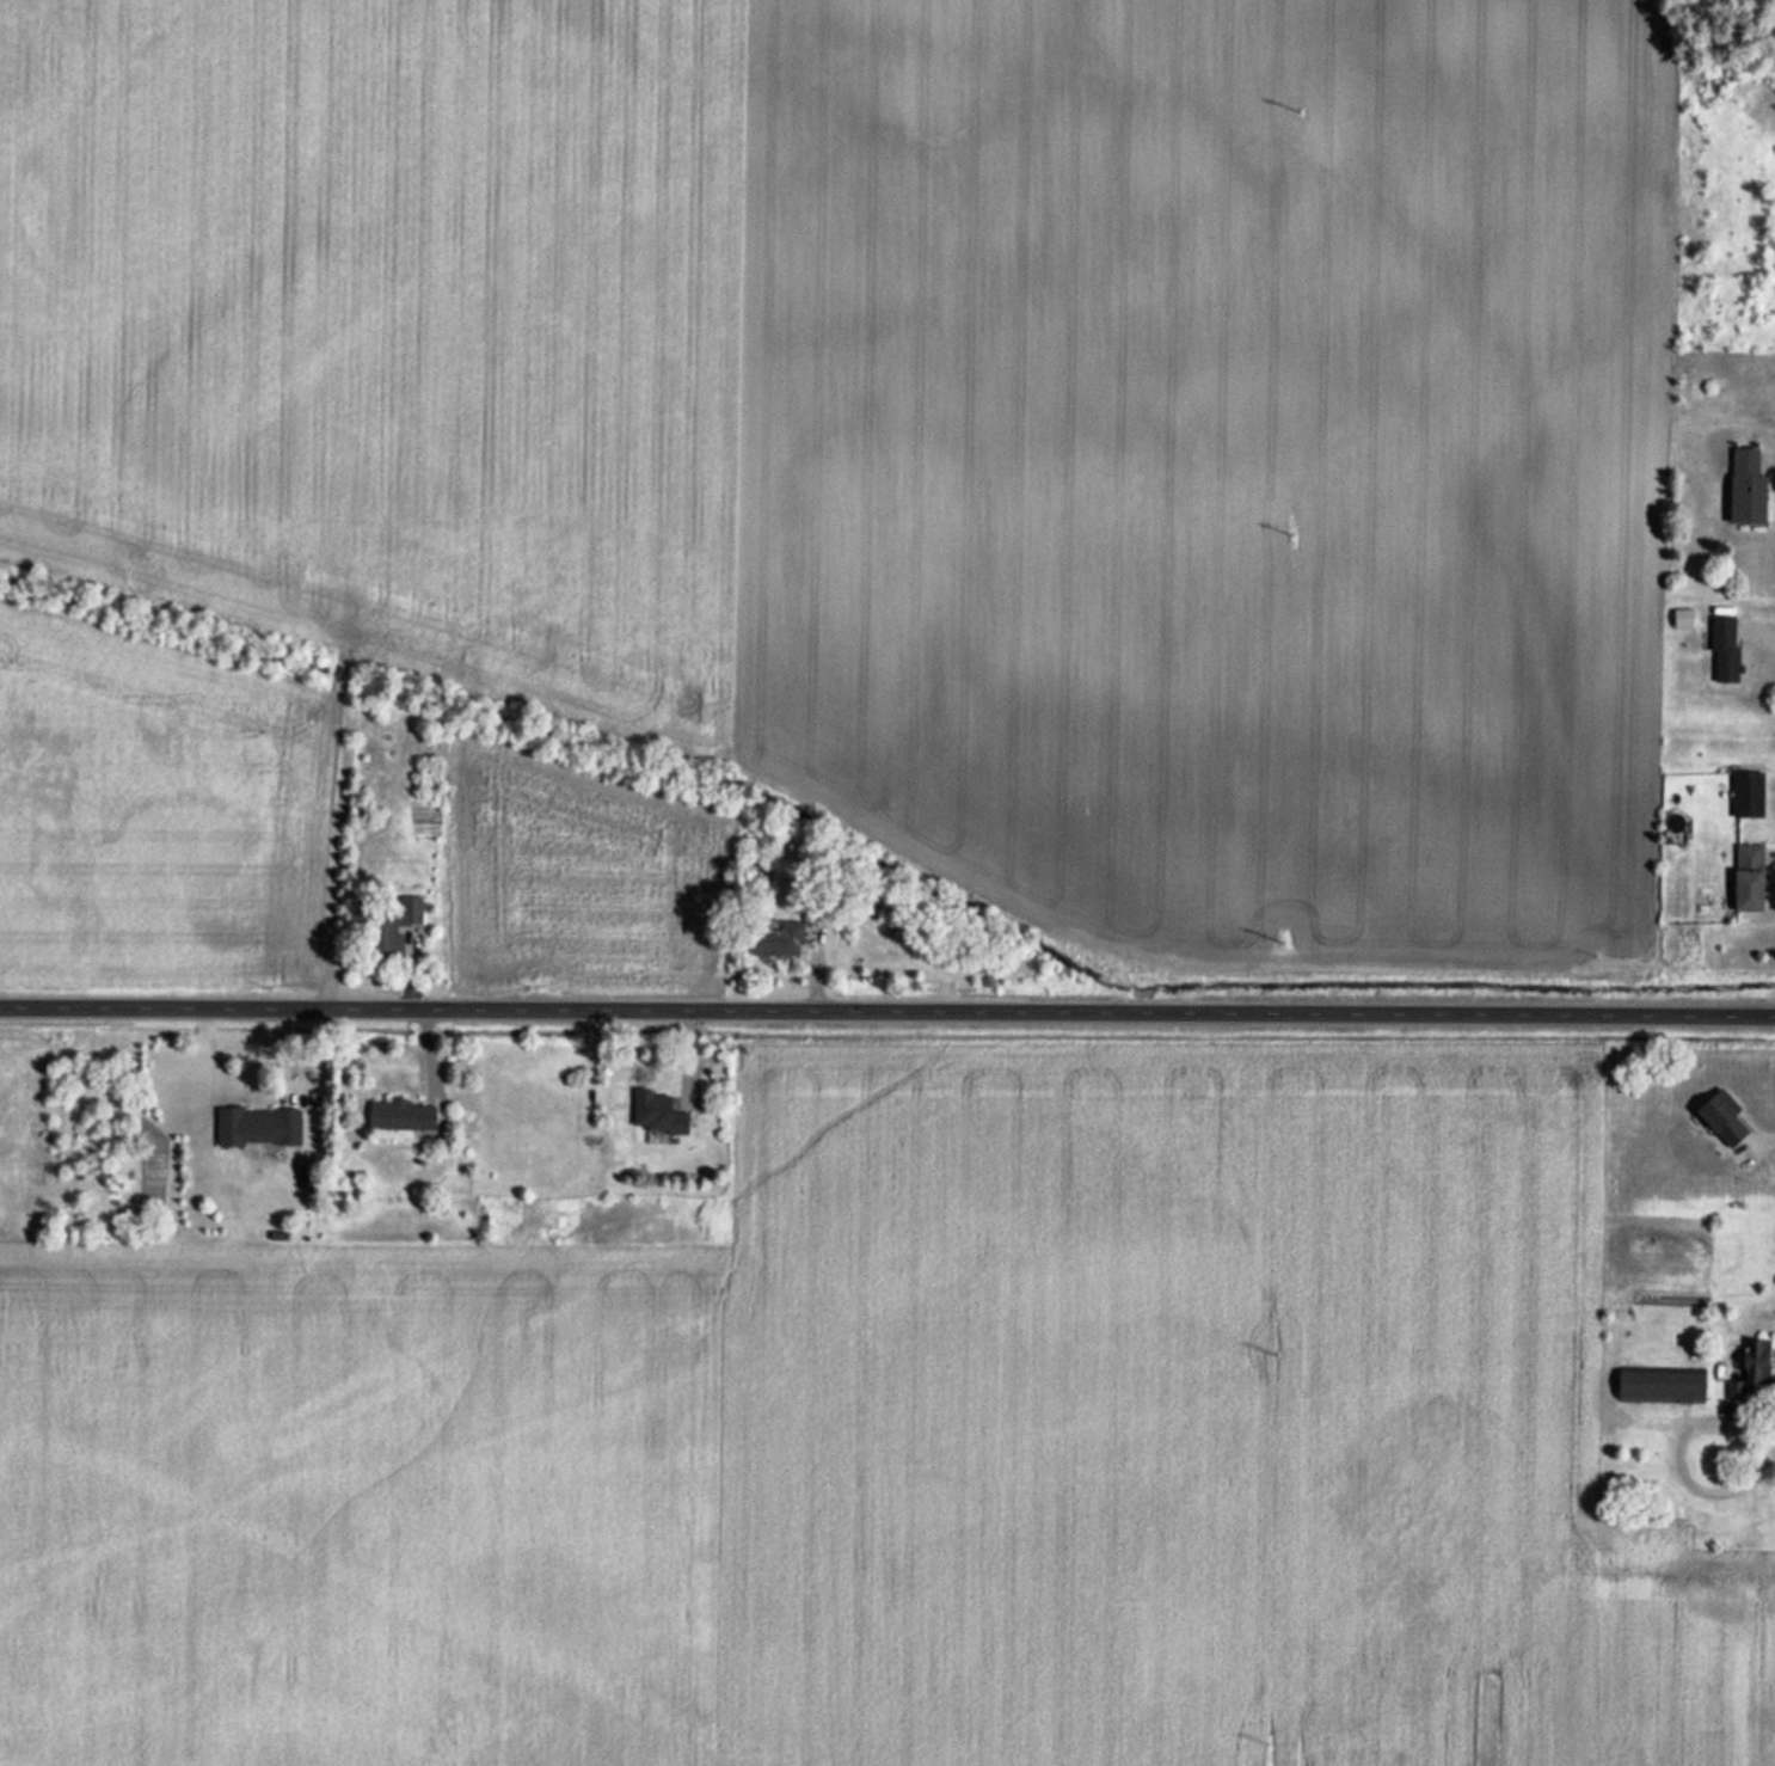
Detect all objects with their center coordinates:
building: (1750, 488)
building: (1727, 648)
building: (1750, 793)
building: (1752, 877)
building: (395, 926)
building: (778, 940)
road: (888, 1007)
building: (659, 1111)
building: (405, 1115)
building: (1726, 1117)
building: (260, 1127)
building: (1757, 1361)
building: (1664, 1384)

